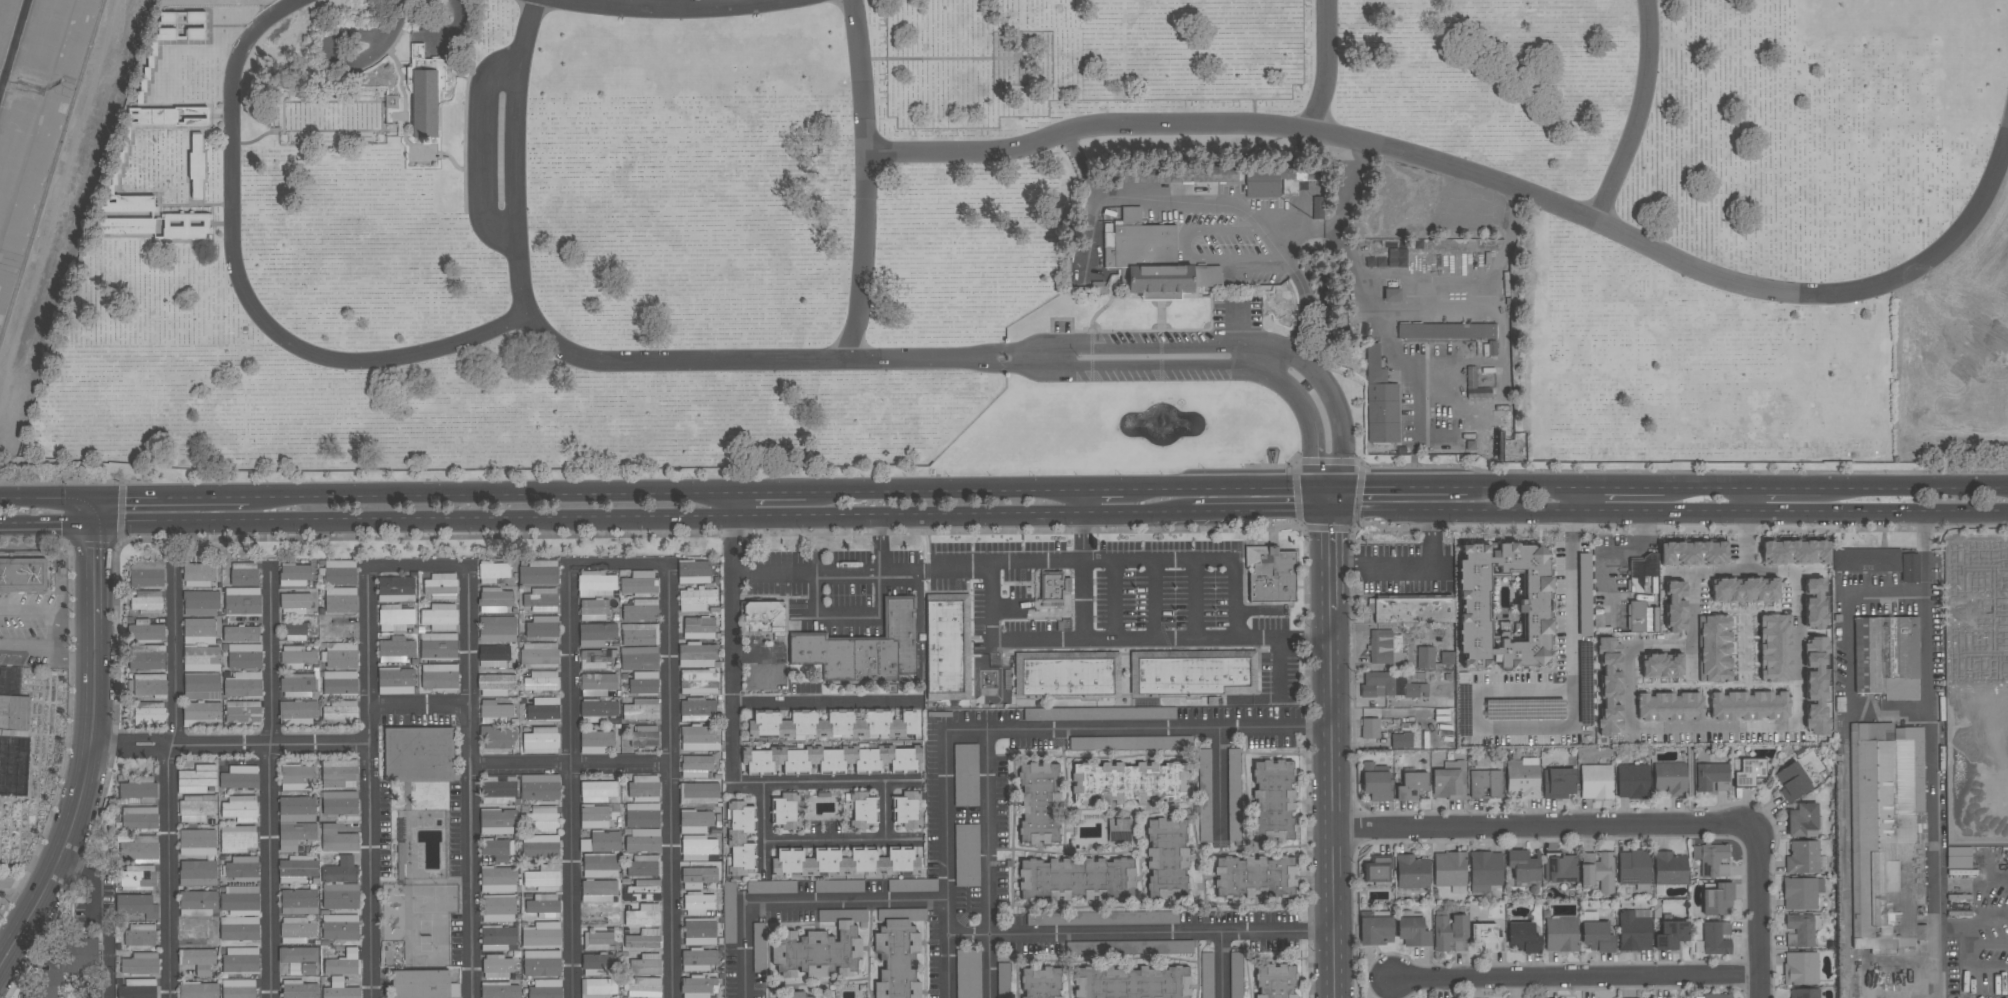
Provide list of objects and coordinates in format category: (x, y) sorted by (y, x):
road: (675, 7)
road: (395, 22)
road: (331, 51)
road: (1327, 65)
building: (427, 66)
building: (425, 104)
road: (1637, 115)
road: (482, 150)
building: (198, 165)
road: (1081, 167)
road: (52, 169)
building: (1197, 175)
road: (1478, 176)
road: (864, 181)
building: (1276, 181)
road: (1148, 201)
building: (151, 220)
road: (1181, 235)
building: (1148, 261)
building: (1215, 277)
road: (244, 289)
road: (1302, 311)
road: (1398, 311)
building: (1448, 331)
building: (1492, 348)
road: (734, 359)
building: (1475, 386)
building: (1380, 400)
road: (1321, 415)
fountain: (1164, 420)
road: (1397, 485)
road: (1526, 485)
road: (1625, 485)
road: (1741, 485)
road: (1847, 485)
road: (1942, 485)
road: (1227, 486)
traffic signals: (1328, 486)
road: (1104, 487)
road: (943, 489)
road: (770, 491)
road: (491, 494)
road: (171, 497)
road: (47, 498)
traffic signals: (94, 498)
road: (1585, 498)
road: (1328, 499)
road: (1750, 499)
road: (1081, 500)
road: (735, 505)
road: (94, 511)
road: (1259, 511)
traffic signals: (1328, 512)
road: (1667, 513)
road: (643, 519)
road: (47, 524)
traffic signals: (95, 524)
building: (1794, 552)
building: (1693, 553)
road: (1605, 554)
road: (57, 555)
road: (1328, 560)
building: (1866, 560)
road: (1407, 565)
parking lot: (1405, 568)
building: (1909, 568)
road: (863, 570)
building: (339, 572)
building: (492, 572)
building: (539, 572)
building: (694, 572)
building: (23, 574)
building: (146, 574)
building: (198, 574)
building: (243, 574)
building: (1270, 574)
building: (294, 575)
road: (1082, 576)
building: (639, 583)
building: (595, 584)
building: (440, 586)
building: (1052, 587)
building: (395, 589)
building: (1744, 590)
parking lot: (1050, 597)
building: (340, 600)
building: (495, 600)
building: (541, 600)
building: (697, 600)
road: (1117, 600)
road: (1154, 600)
road: (1194, 600)
building: (242, 601)
building: (147, 602)
building: (201, 603)
building: (294, 603)
building: (1814, 603)
road: (364, 606)
building: (1504, 606)
building: (1675, 606)
building: (593, 610)
building: (640, 610)
building: (1413, 610)
road: (50, 612)
road: (992, 615)
building: (1637, 616)
building: (395, 617)
building: (440, 617)
building: (763, 617)
road: (873, 619)
building: (339, 627)
building: (541, 627)
building: (698, 627)
building: (497, 629)
building: (149, 631)
building: (199, 631)
building: (296, 632)
building: (241, 634)
building: (597, 634)
building: (639, 634)
road: (1304, 636)
building: (438, 646)
building: (1385, 647)
building: (865, 648)
building: (948, 648)
building: (1714, 648)
building: (1775, 648)
building: (396, 649)
road: (1849, 649)
road: (25, 650)
road: (71, 651)
road: (737, 651)
building: (339, 655)
building: (539, 655)
building: (697, 655)
building: (244, 656)
building: (493, 656)
building: (147, 657)
road: (269, 657)
building: (296, 657)
building: (1886, 657)
building: (639, 658)
building: (1425, 658)
building: (201, 659)
building: (596, 659)
building: (1662, 666)
building: (1067, 673)
building: (1192, 673)
building: (439, 677)
building: (395, 681)
building: (643, 682)
building: (699, 682)
building: (340, 683)
building: (541, 683)
building: (597, 684)
building: (1393, 684)
building: (150, 685)
building: (243, 685)
building: (495, 685)
building: (1610, 685)
building: (202, 686)
building: (299, 686)
building: (1815, 686)
road: (829, 705)
building: (1749, 706)
building: (1669, 707)
building: (543, 709)
building: (597, 710)
building: (641, 710)
building: (697, 710)
road: (417, 711)
building: (242, 712)
building: (340, 712)
building: (495, 712)
building: (14, 713)
building: (149, 713)
building: (202, 713)
building: (297, 713)
building: (1105, 713)
building: (831, 725)
road: (1563, 727)
road: (1711, 727)
road: (1139, 728)
building: (1369, 728)
road: (568, 732)
building: (644, 736)
building: (499, 738)
building: (700, 738)
building: (541, 739)
building: (1401, 740)
road: (1928, 740)
building: (597, 741)
building: (1128, 743)
road: (92, 747)
road: (228, 747)
building: (418, 754)
building: (831, 759)
building: (695, 766)
road: (569, 769)
building: (1749, 772)
building: (338, 773)
building: (965, 775)
building: (297, 777)
building: (1712, 777)
building: (240, 778)
building: (1522, 778)
building: (1669, 778)
building: (196, 779)
road: (1218, 781)
building: (1375, 781)
building: (1449, 781)
building: (1596, 781)
building: (1632, 781)
road: (170, 782)
road: (827, 782)
building: (1792, 782)
road: (470, 783)
road: (669, 783)
building: (1128, 783)
building: (1204, 783)
building: (1558, 783)
building: (1485, 784)
building: (1411, 786)
building: (539, 787)
building: (644, 788)
building: (597, 791)
building: (138, 793)
building: (698, 793)
building: (1274, 800)
building: (339, 803)
road: (1333, 803)
building: (197, 809)
building: (240, 809)
building: (297, 809)
building: (863, 810)
building: (907, 810)
building: (785, 811)
road: (884, 812)
building: (642, 815)
building: (594, 817)
building: (139, 818)
building: (544, 818)
building: (1802, 820)
building: (497, 821)
building: (695, 821)
road: (1540, 824)
road: (762, 828)
building: (1118, 830)
building: (295, 835)
building: (1887, 835)
building: (237, 839)
building: (338, 840)
building: (643, 840)
building: (197, 842)
building: (601, 842)
road: (839, 843)
building: (540, 847)
building: (697, 847)
building: (144, 849)
building: (497, 849)
building: (1166, 854)
building: (966, 855)
building: (1802, 857)
building: (1958, 857)
building: (1711, 860)
building: (844, 862)
road: (946, 862)
road: (991, 862)
building: (600, 865)
building: (1524, 865)
building: (642, 866)
building: (1560, 868)
building: (1634, 868)
building: (1669, 868)
building: (242, 869)
building: (297, 869)
building: (1377, 870)
building: (1486, 870)
building: (340, 871)
road: (367, 871)
building: (1450, 871)
building: (1598, 871)
road: (270, 872)
building: (1411, 872)
building: (197, 873)
building: (138, 877)
building: (1255, 877)
building: (543, 878)
building: (498, 879)
road: (13, 884)
building: (912, 885)
building: (838, 886)
building: (771, 887)
building: (642, 890)
building: (697, 890)
building: (598, 891)
building: (1801, 893)
building: (340, 896)
building: (240, 900)
building: (1718, 900)
building: (196, 902)
building: (298, 902)
road: (846, 902)
building: (136, 905)
building: (543, 906)
building: (498, 908)
road: (1757, 911)
building: (729, 913)
road: (101, 914)
building: (599, 915)
building: (643, 915)
building: (1144, 917)
building: (1064, 918)
building: (340, 927)
building: (239, 929)
building: (1801, 929)
building: (296, 930)
building: (1375, 930)
building: (1634, 930)
building: (699, 931)
building: (1412, 931)
building: (195, 932)
road: (1140, 932)
building: (1449, 933)
building: (1560, 934)
building: (140, 935)
building: (541, 935)
building: (1671, 935)
building: (1486, 937)
building: (1596, 937)
building: (498, 938)
building: (1522, 938)
building: (1716, 938)
building: (643, 939)
building: (598, 940)
building: (758, 940)
road: (2, 941)
building: (1133, 947)
road: (746, 950)
building: (898, 951)
building: (698, 959)
building: (198, 960)
building: (240, 960)
building: (299, 960)
building: (343, 963)
building: (541, 963)
building: (140, 964)
building: (65, 965)
building: (596, 965)
building: (645, 965)
road: (1222, 965)
building: (496, 966)
building: (1800, 968)
building: (968, 974)
building: (1235, 974)
building: (1206, 975)
road: (1576, 977)
building: (1003, 980)
building: (1275, 981)
building: (1040, 982)
building: (1132, 982)
building: (424, 984)
building: (697, 987)
building: (138, 988)
building: (238, 988)
building: (598, 988)
building: (298, 989)
building: (545, 989)
building: (198, 990)
building: (340, 990)
building: (499, 990)
building: (85, 993)
building: (1804, 993)
building: (789, 995)
building: (1713, 996)

